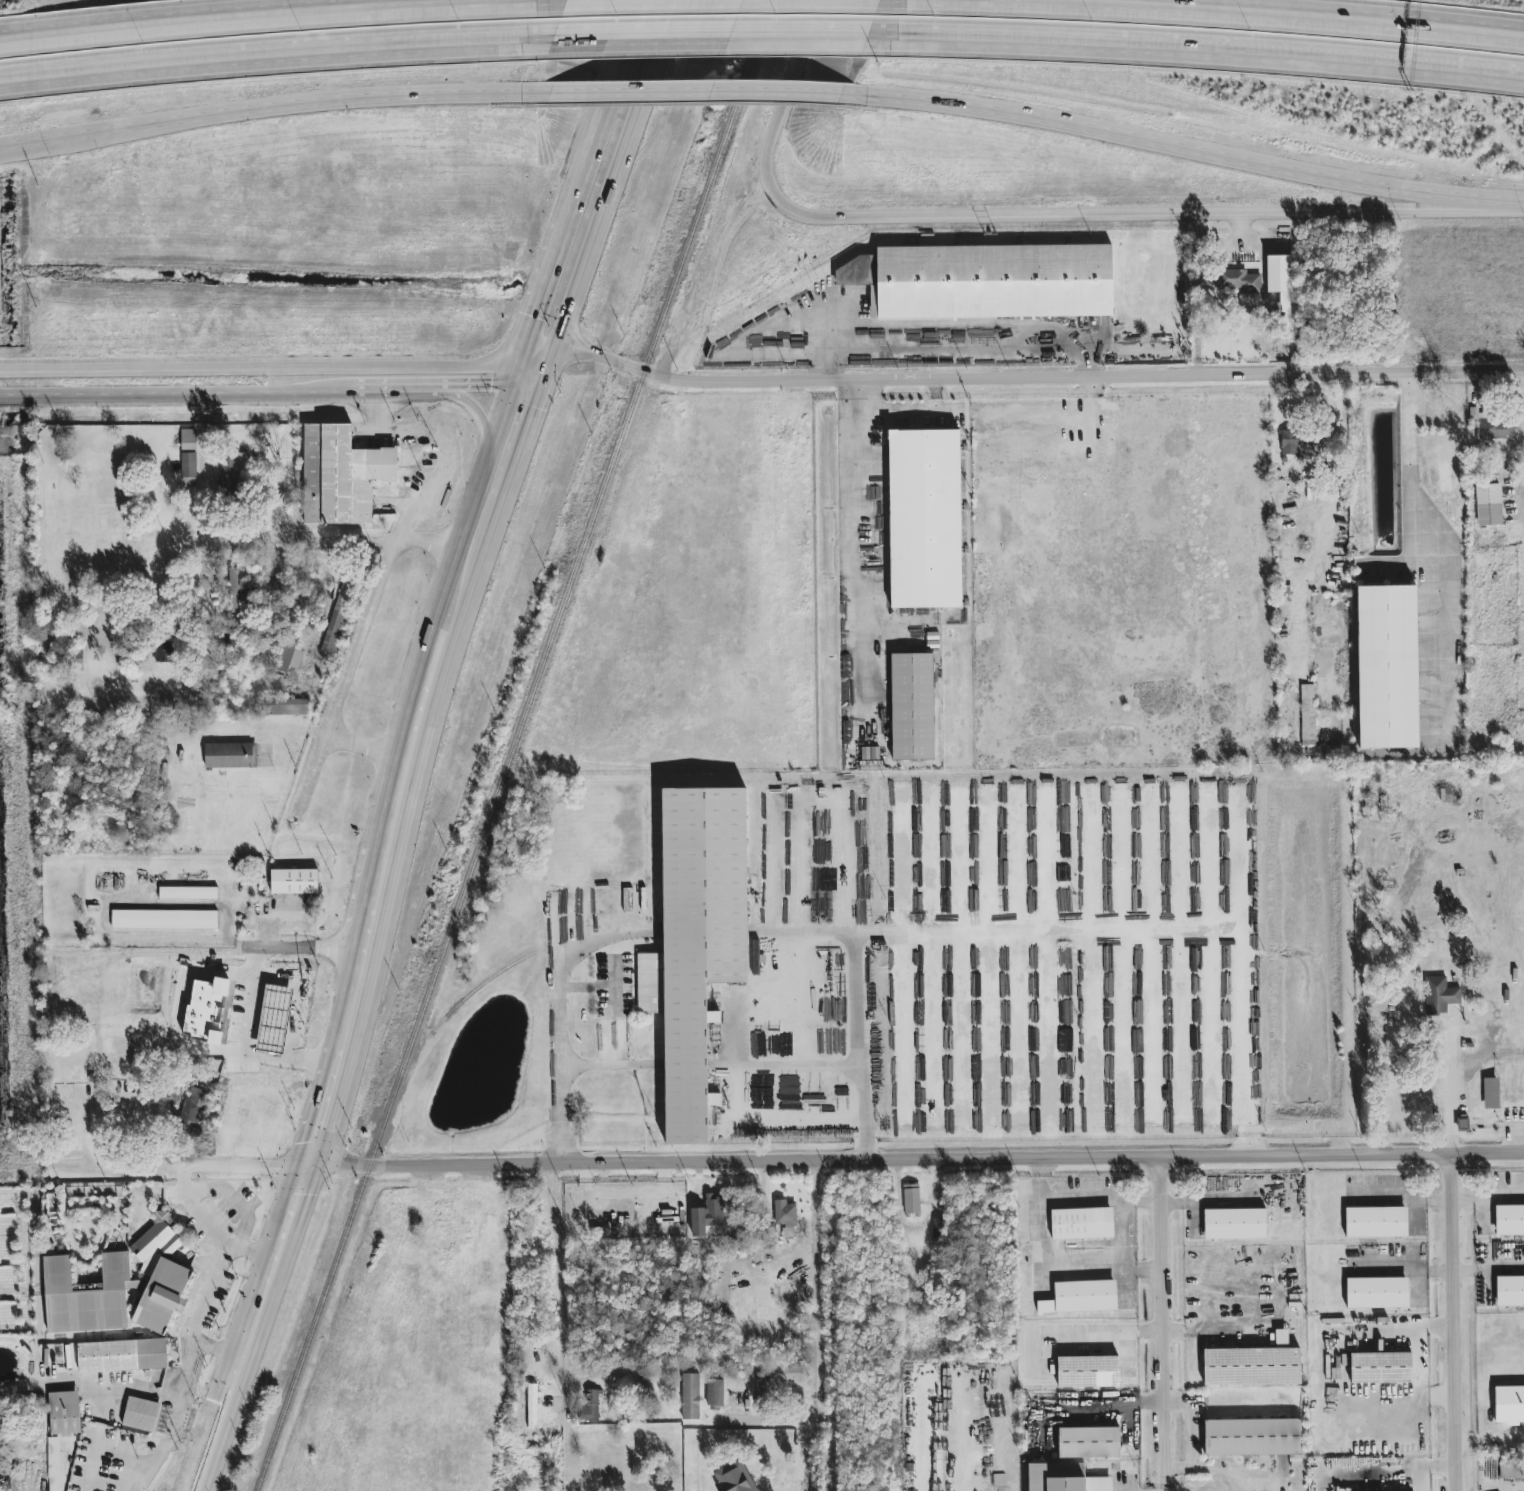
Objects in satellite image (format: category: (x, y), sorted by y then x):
road: (721, 4)
road: (1202, 17)
road: (280, 21)
road: (714, 28)
road: (1198, 41)
road: (277, 47)
road: (692, 91)
road: (265, 107)
road: (635, 120)
road: (1186, 147)
road: (1040, 216)
road: (566, 230)
building: (1278, 274)
road: (582, 275)
building: (984, 281)
building: (1237, 281)
building: (1288, 312)
traffic signals: (536, 319)
road: (574, 333)
traffic signals: (578, 340)
road: (558, 346)
road: (563, 361)
road: (273, 368)
road: (1054, 376)
road: (1523, 377)
traffic signals: (490, 386)
road: (495, 386)
road: (1409, 387)
road: (399, 389)
road: (176, 394)
road: (936, 396)
road: (917, 414)
road: (480, 416)
building: (1489, 426)
building: (188, 440)
road: (524, 443)
building: (1296, 444)
building: (233, 462)
building: (188, 465)
road: (202, 467)
building: (341, 475)
building: (225, 483)
road: (1410, 492)
road: (471, 503)
building: (1488, 505)
building: (924, 519)
road: (494, 532)
road: (251, 538)
road: (427, 542)
road: (871, 563)
road: (445, 577)
building: (233, 586)
building: (272, 588)
road: (473, 591)
building: (245, 592)
road: (365, 626)
road: (437, 627)
road: (450, 632)
building: (164, 652)
building: (1388, 665)
building: (289, 707)
building: (912, 707)
building: (1311, 729)
railway: (513, 745)
road: (365, 748)
road: (410, 750)
building: (229, 756)
building: (294, 882)
building: (187, 893)
road: (374, 906)
road: (270, 916)
building: (164, 920)
road: (1046, 934)
road: (601, 937)
road: (145, 938)
building: (695, 943)
road: (262, 975)
building: (1439, 989)
road: (351, 1009)
building: (1397, 1009)
building: (206, 1010)
road: (610, 1026)
road: (246, 1039)
road: (296, 1041)
road: (558, 1047)
road: (793, 1063)
road: (1449, 1084)
building: (1490, 1093)
building: (192, 1105)
road: (323, 1115)
road: (790, 1162)
traffic signals: (308, 1167)
road: (1084, 1197)
building: (911, 1199)
road: (1485, 1199)
road: (198, 1210)
building: (713, 1210)
road: (292, 1212)
building: (784, 1213)
building: (1509, 1220)
building: (697, 1222)
building: (1375, 1222)
building: (1081, 1224)
building: (1234, 1224)
road: (1121, 1254)
road: (559, 1282)
building: (118, 1287)
road: (209, 1287)
road: (816, 1291)
building: (1510, 1291)
building: (1376, 1293)
building: (1080, 1298)
road: (1164, 1321)
road: (1448, 1321)
building: (121, 1356)
building: (1253, 1365)
building: (1381, 1368)
building: (789, 1369)
road: (225, 1371)
building: (1087, 1372)
road: (248, 1375)
building: (760, 1385)
road: (90, 1387)
building: (714, 1393)
road: (183, 1394)
building: (690, 1397)
building: (532, 1401)
building: (589, 1405)
building: (1508, 1406)
building: (64, 1413)
building: (140, 1415)
road: (1189, 1436)
building: (1253, 1438)
building: (1088, 1443)
road: (98, 1446)
road: (154, 1453)
road: (802, 1455)
building: (53, 1458)
road: (185, 1468)
building: (1510, 1469)
road: (1229, 1474)
building: (733, 1478)
building: (1063, 1478)
road: (1164, 1488)

